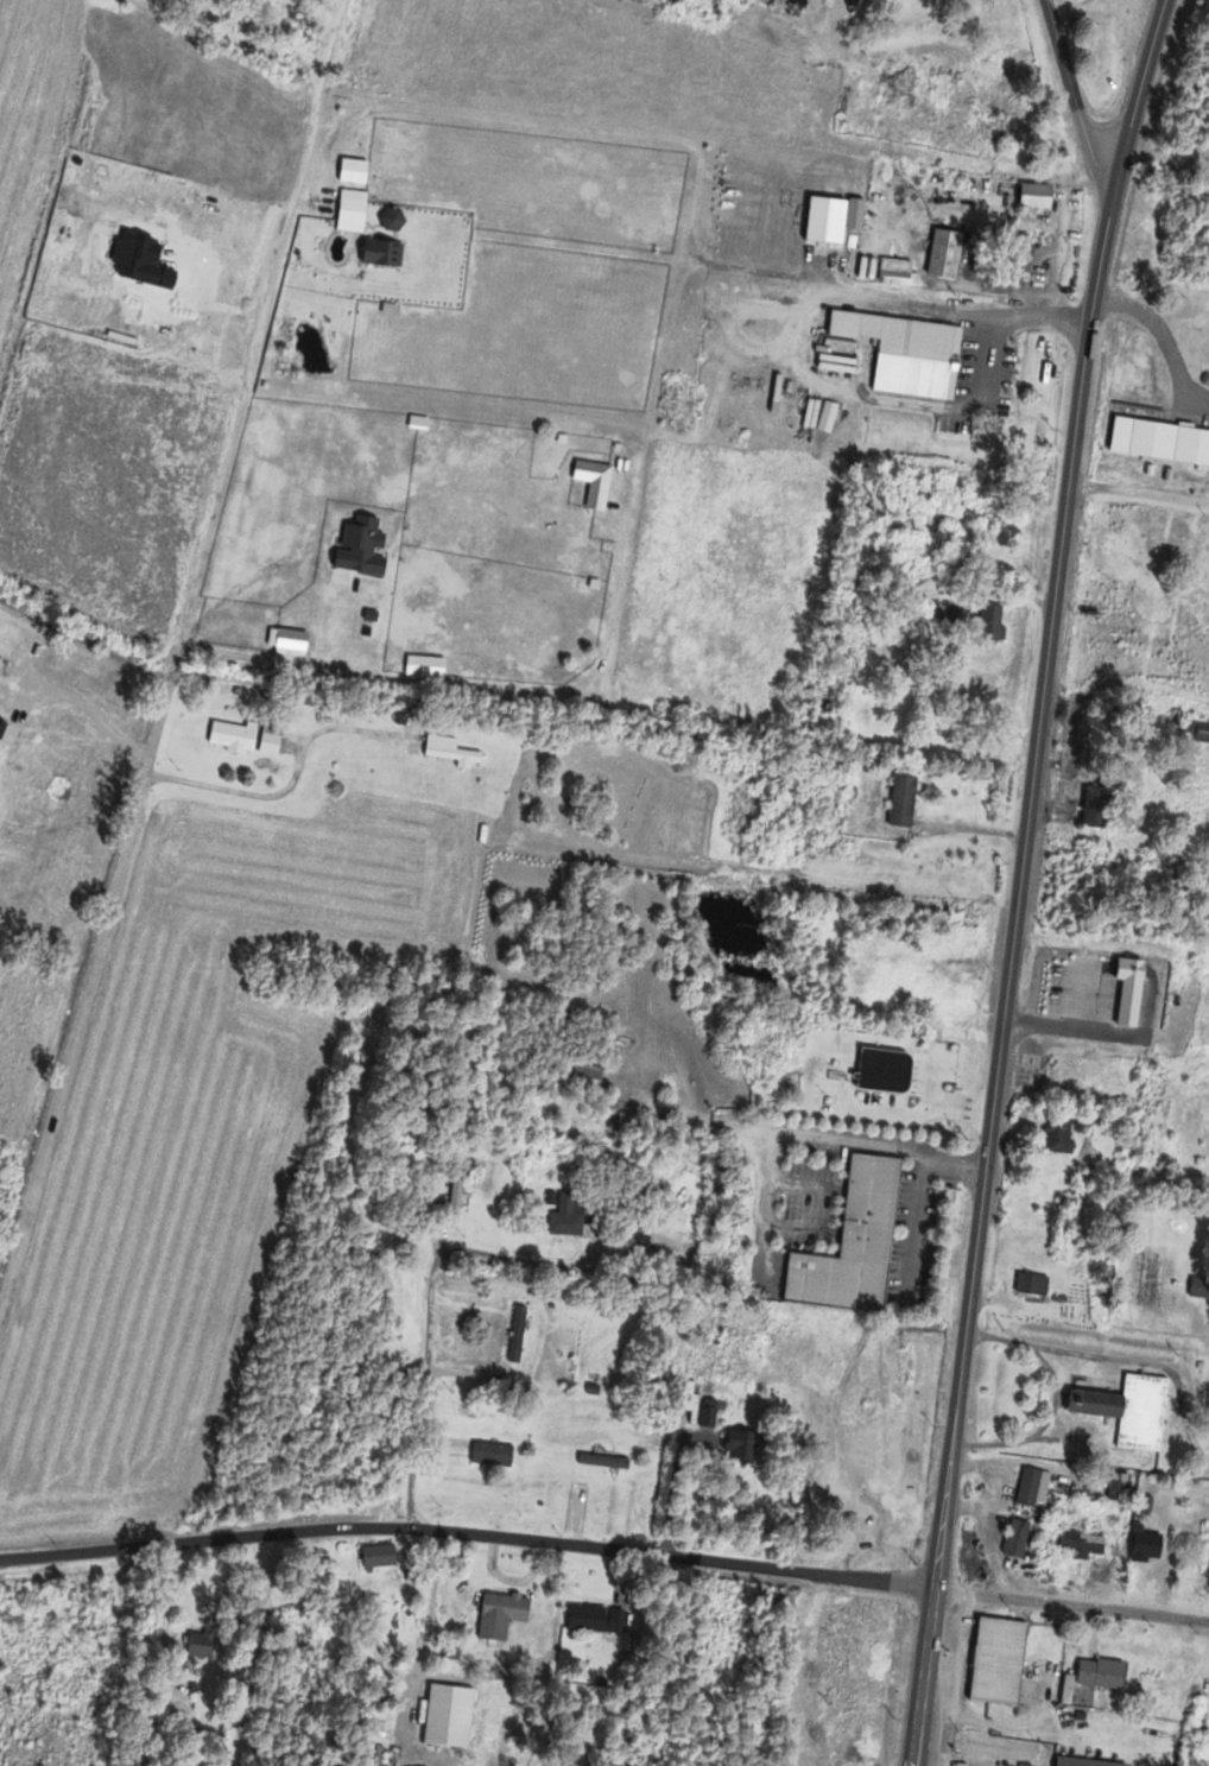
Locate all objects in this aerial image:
building: (578, 30)
road: (325, 61)
building: (1030, 89)
road: (1071, 89)
road: (619, 129)
building: (1030, 196)
building: (939, 254)
building: (1017, 262)
building: (892, 274)
road: (814, 292)
building: (1204, 324)
road: (1157, 327)
building: (968, 338)
building: (906, 350)
road: (982, 360)
road: (243, 380)
building: (1157, 441)
building: (570, 483)
road: (1138, 490)
road: (239, 583)
building: (950, 615)
building: (986, 626)
road: (31, 694)
building: (1195, 733)
building: (228, 738)
building: (265, 740)
building: (447, 753)
road: (243, 793)
building: (898, 803)
building: (1090, 809)
road: (1019, 879)
building: (868, 947)
road: (91, 980)
building: (854, 983)
building: (939, 983)
building: (1122, 993)
road: (704, 1113)
building: (1052, 1135)
road: (884, 1144)
road: (800, 1182)
building: (450, 1204)
road: (765, 1211)
building: (563, 1219)
road: (912, 1224)
road: (796, 1227)
building: (848, 1243)
road: (519, 1260)
park: (1159, 1268)
building: (1028, 1283)
building: (1198, 1285)
building: (512, 1338)
road: (424, 1387)
building: (1091, 1401)
building: (1139, 1411)
building: (734, 1449)
building: (487, 1457)
building: (599, 1466)
building: (1026, 1485)
building: (1116, 1485)
road: (468, 1530)
building: (1013, 1536)
building: (1080, 1542)
building: (1144, 1543)
building: (372, 1557)
building: (787, 1602)
road: (1071, 1602)
road: (1207, 1604)
road: (428, 1609)
building: (495, 1615)
building: (589, 1620)
building: (195, 1646)
building: (449, 1652)
building: (995, 1658)
building: (861, 1670)
building: (1099, 1671)
building: (442, 1716)
building: (1083, 1761)

